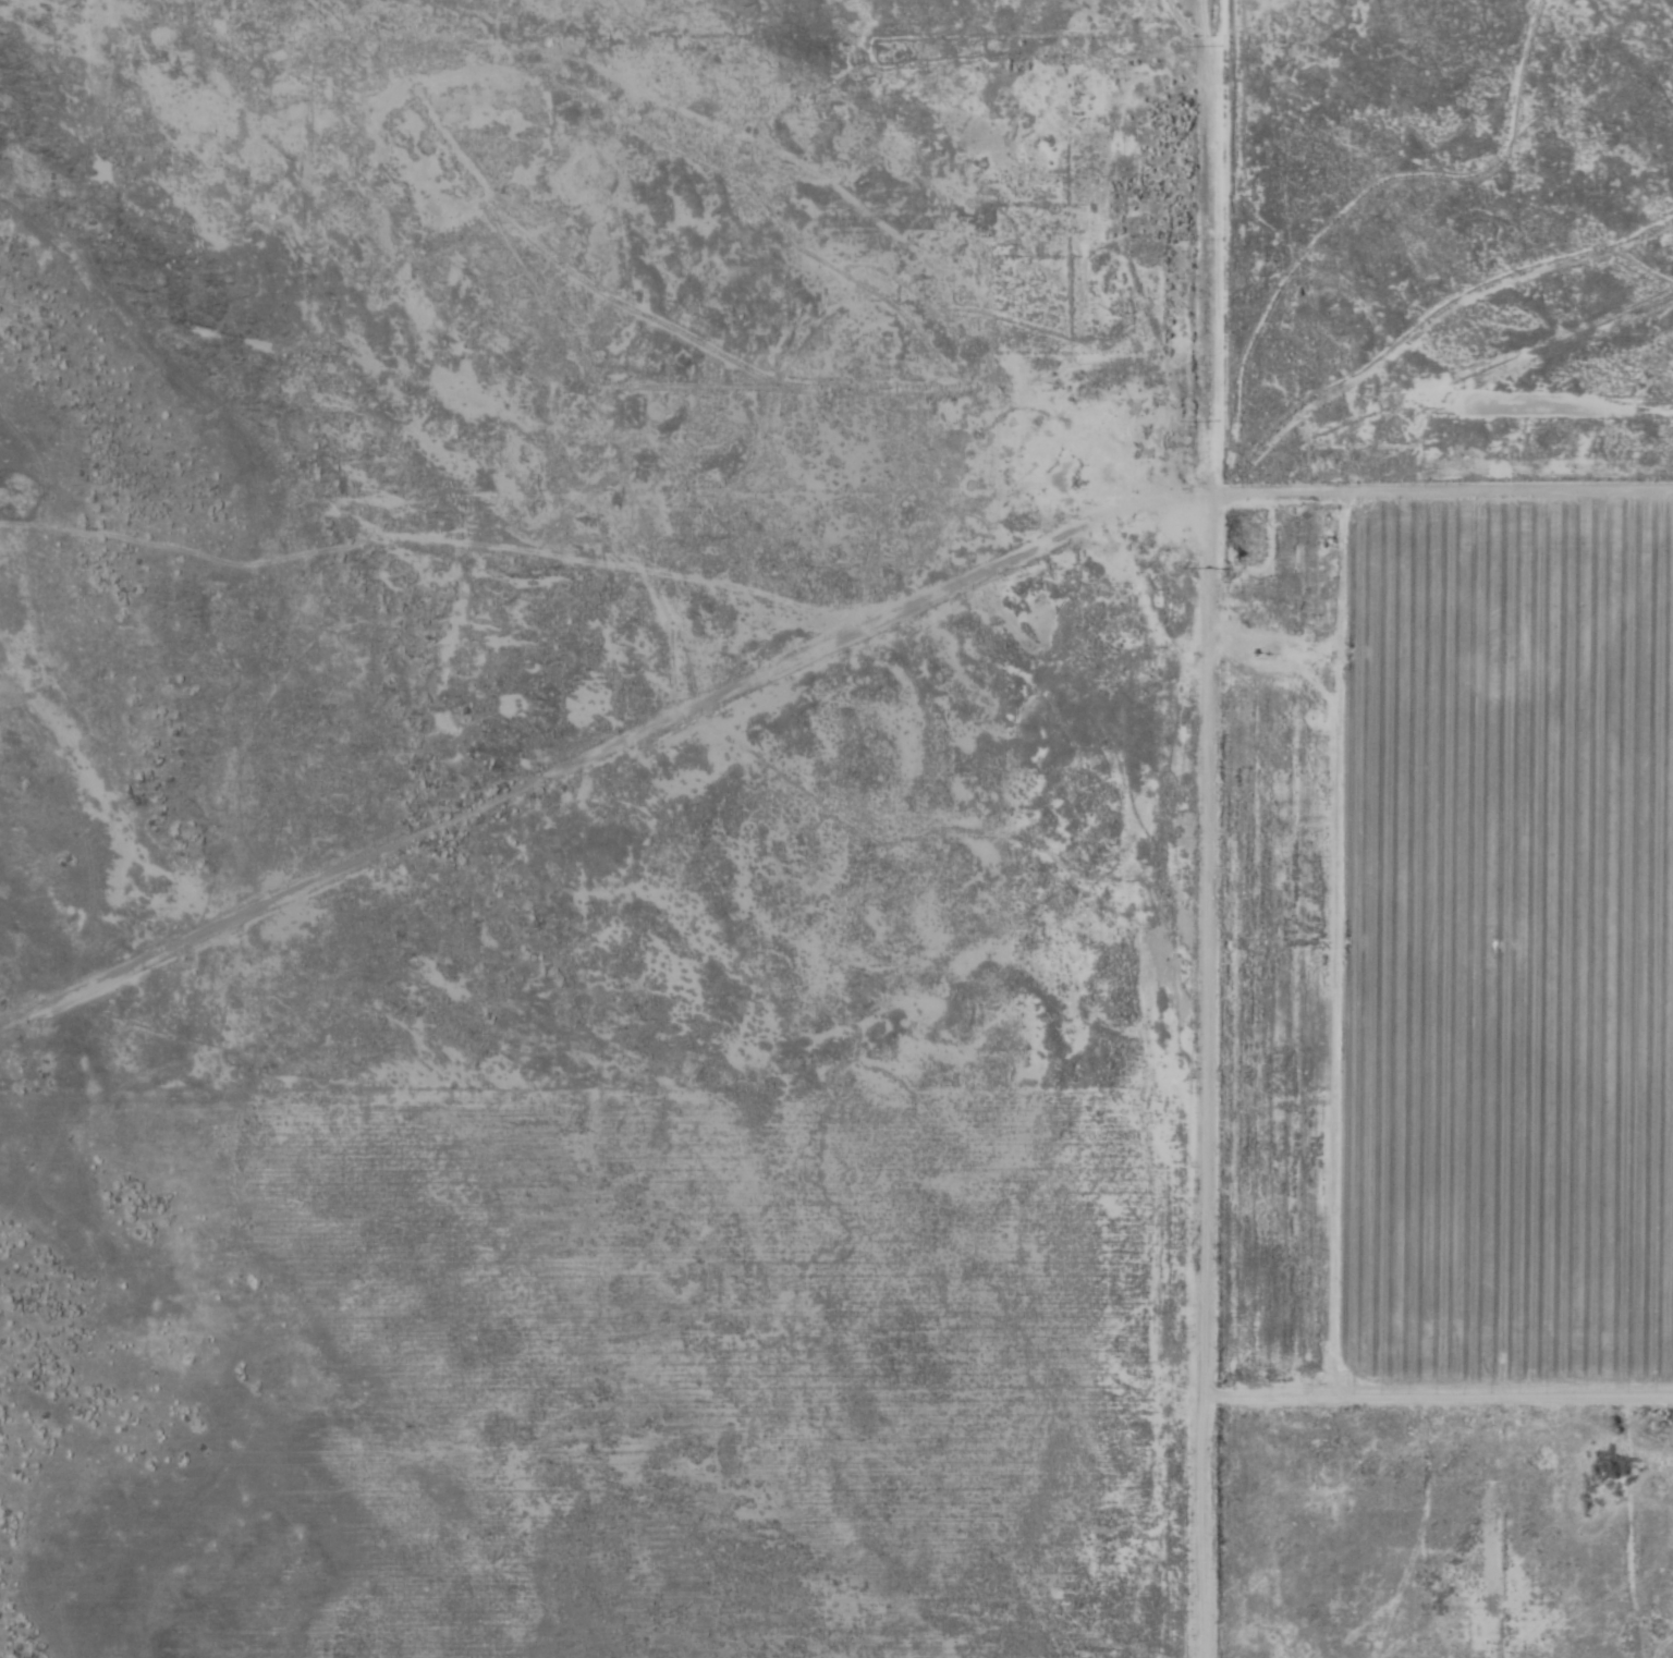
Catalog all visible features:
building: (1148, 442)
road: (611, 772)

